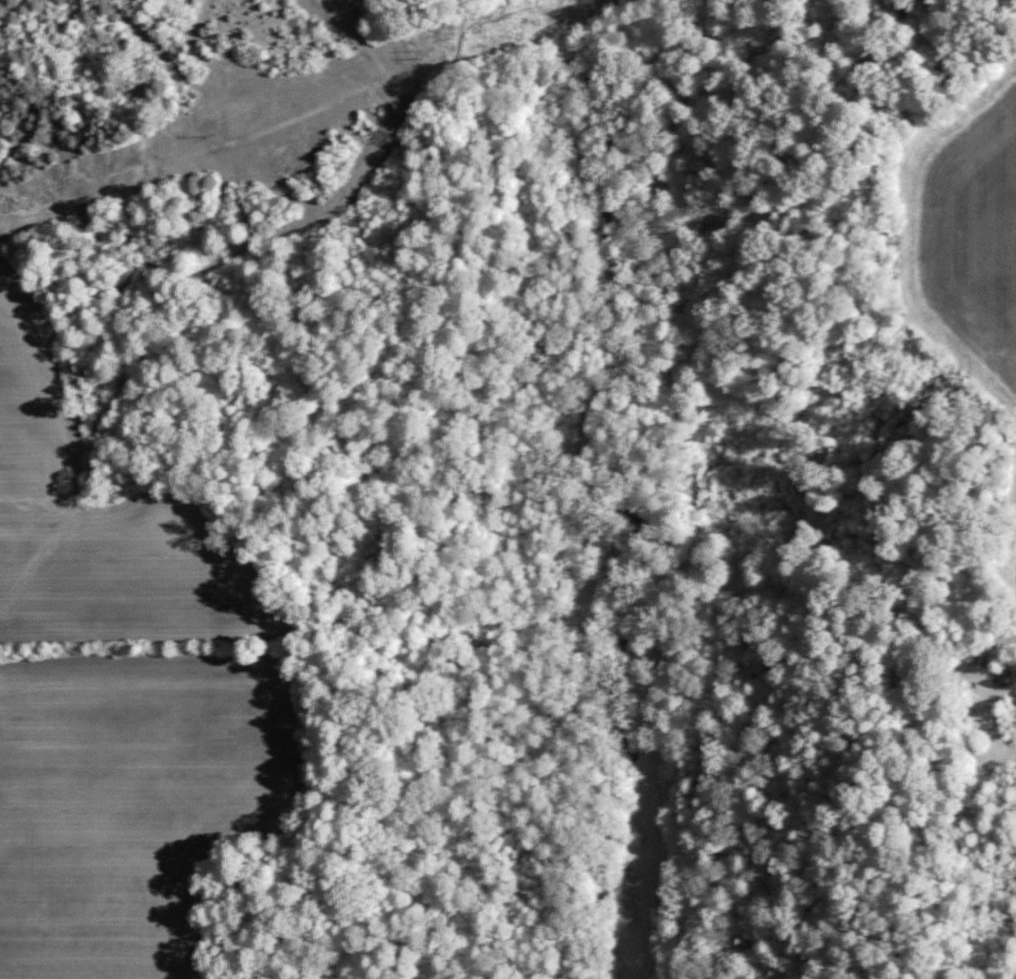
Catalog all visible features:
building: (1000, 675)

